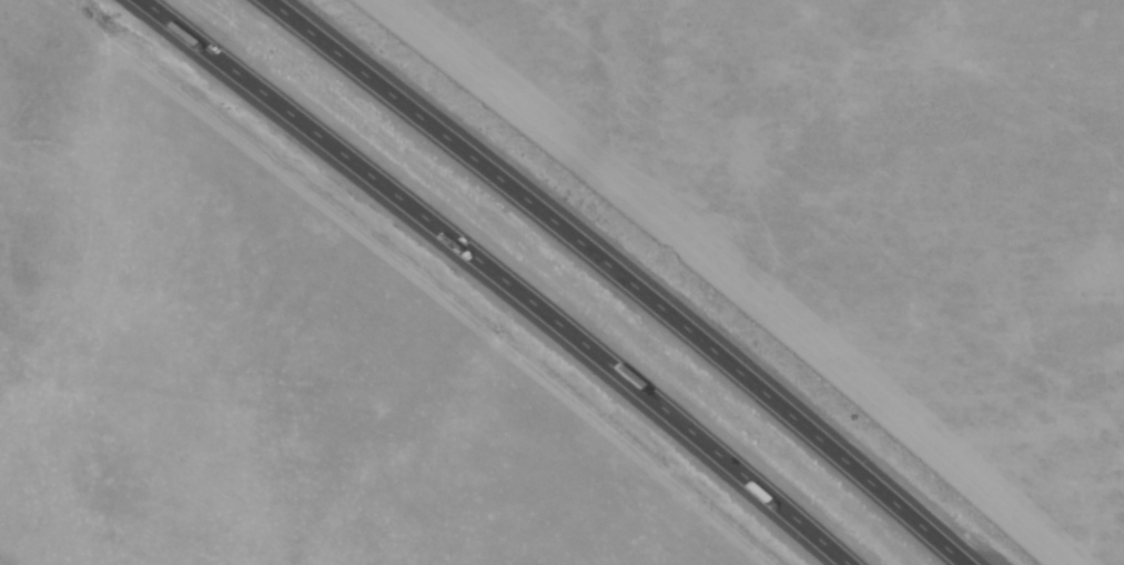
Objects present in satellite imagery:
crop: (867, 202)
road: (498, 275)
road: (625, 275)

